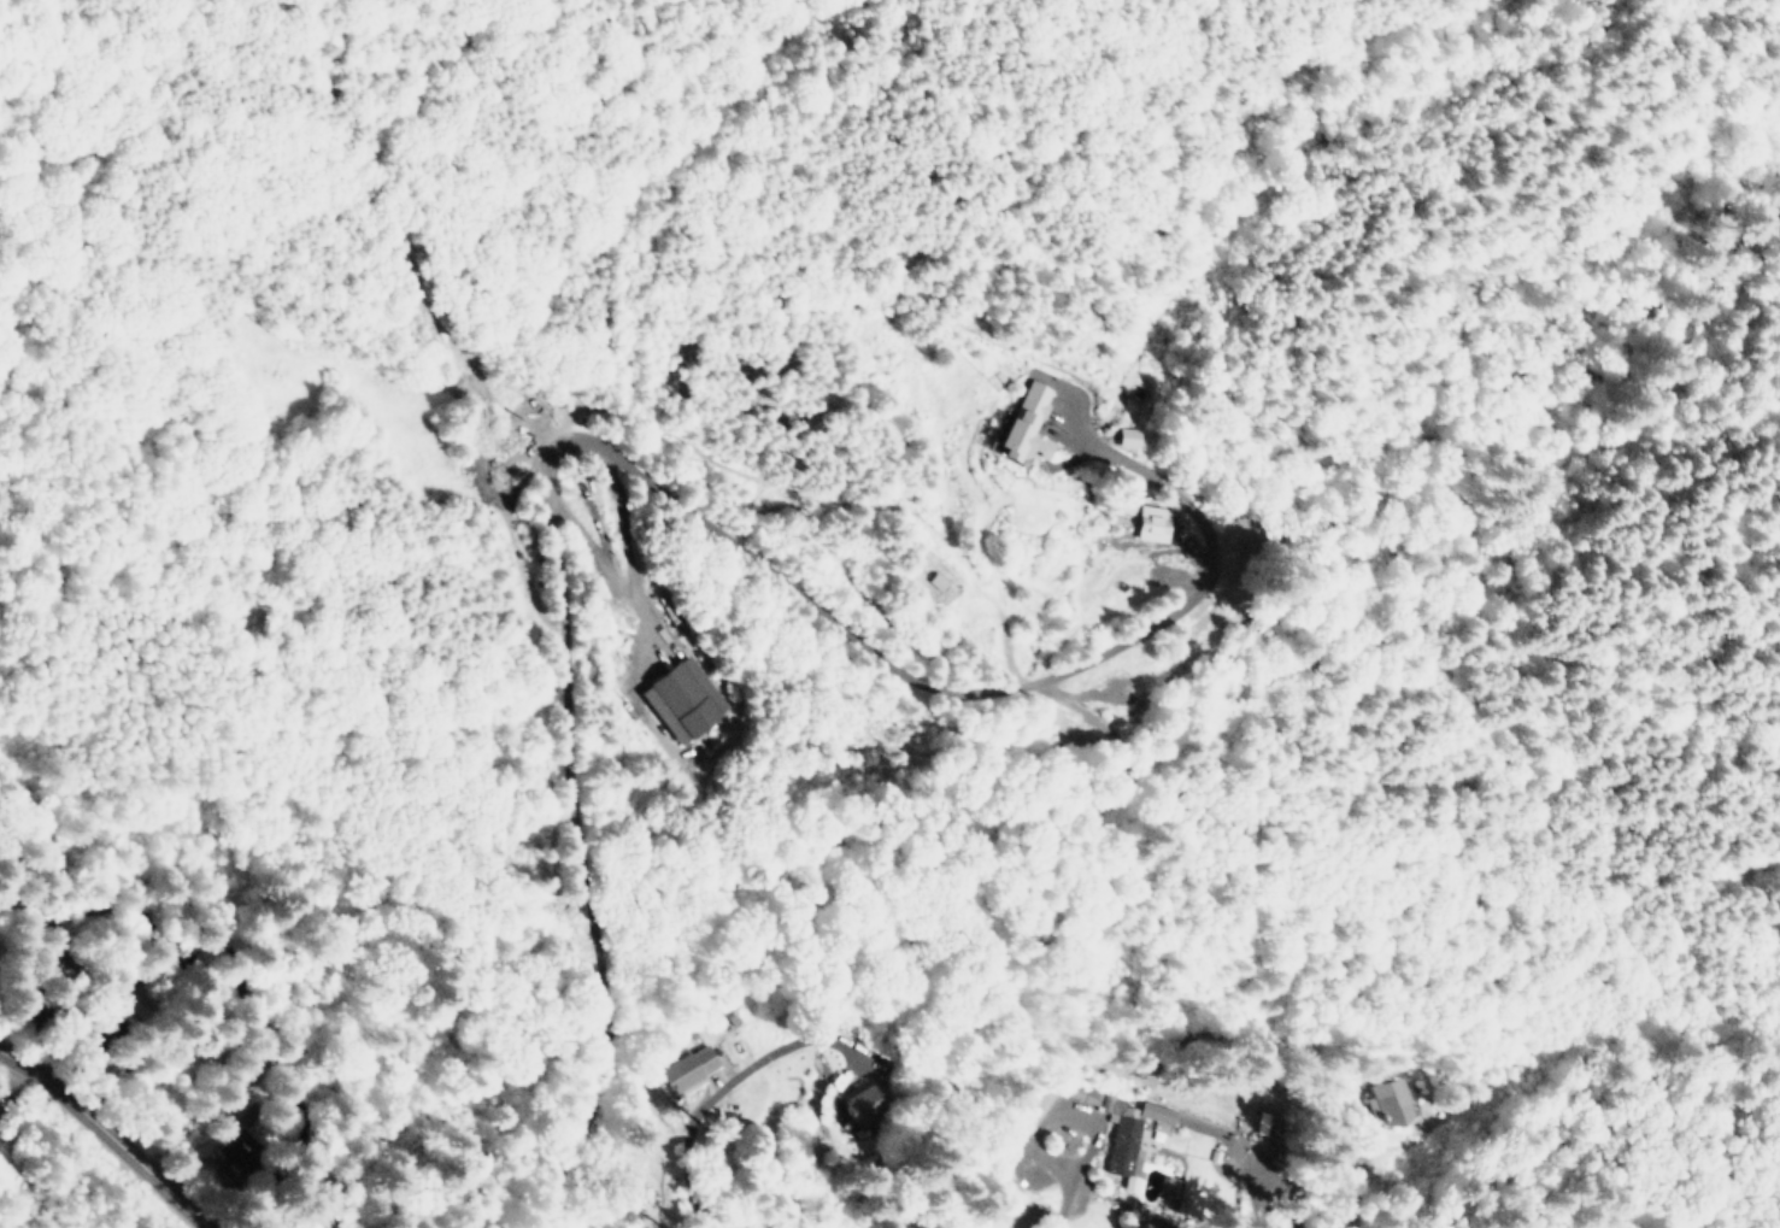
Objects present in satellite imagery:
building: (1027, 427)
building: (1128, 436)
road: (559, 446)
road: (1486, 484)
building: (1440, 498)
building: (1152, 522)
road: (1209, 575)
building: (938, 581)
road: (629, 586)
road: (809, 610)
road: (1411, 613)
building: (1424, 631)
parking lot: (1111, 689)
road: (1058, 692)
road: (1322, 697)
building: (683, 699)
road: (569, 725)
road: (1111, 731)
road: (1142, 788)
building: (134, 999)
road: (813, 1035)
building: (683, 1070)
road: (584, 1099)
building: (1388, 1101)
building: (860, 1103)
building: (1123, 1129)
road: (105, 1138)
building: (240, 1150)
building: (1168, 1185)
road: (1069, 1192)

